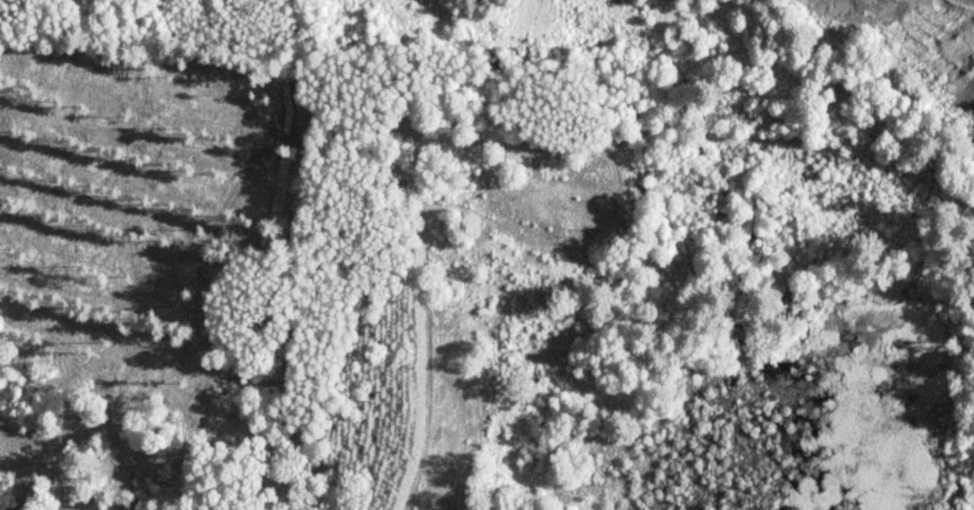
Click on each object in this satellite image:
quarry: (921, 42)
road: (285, 254)

